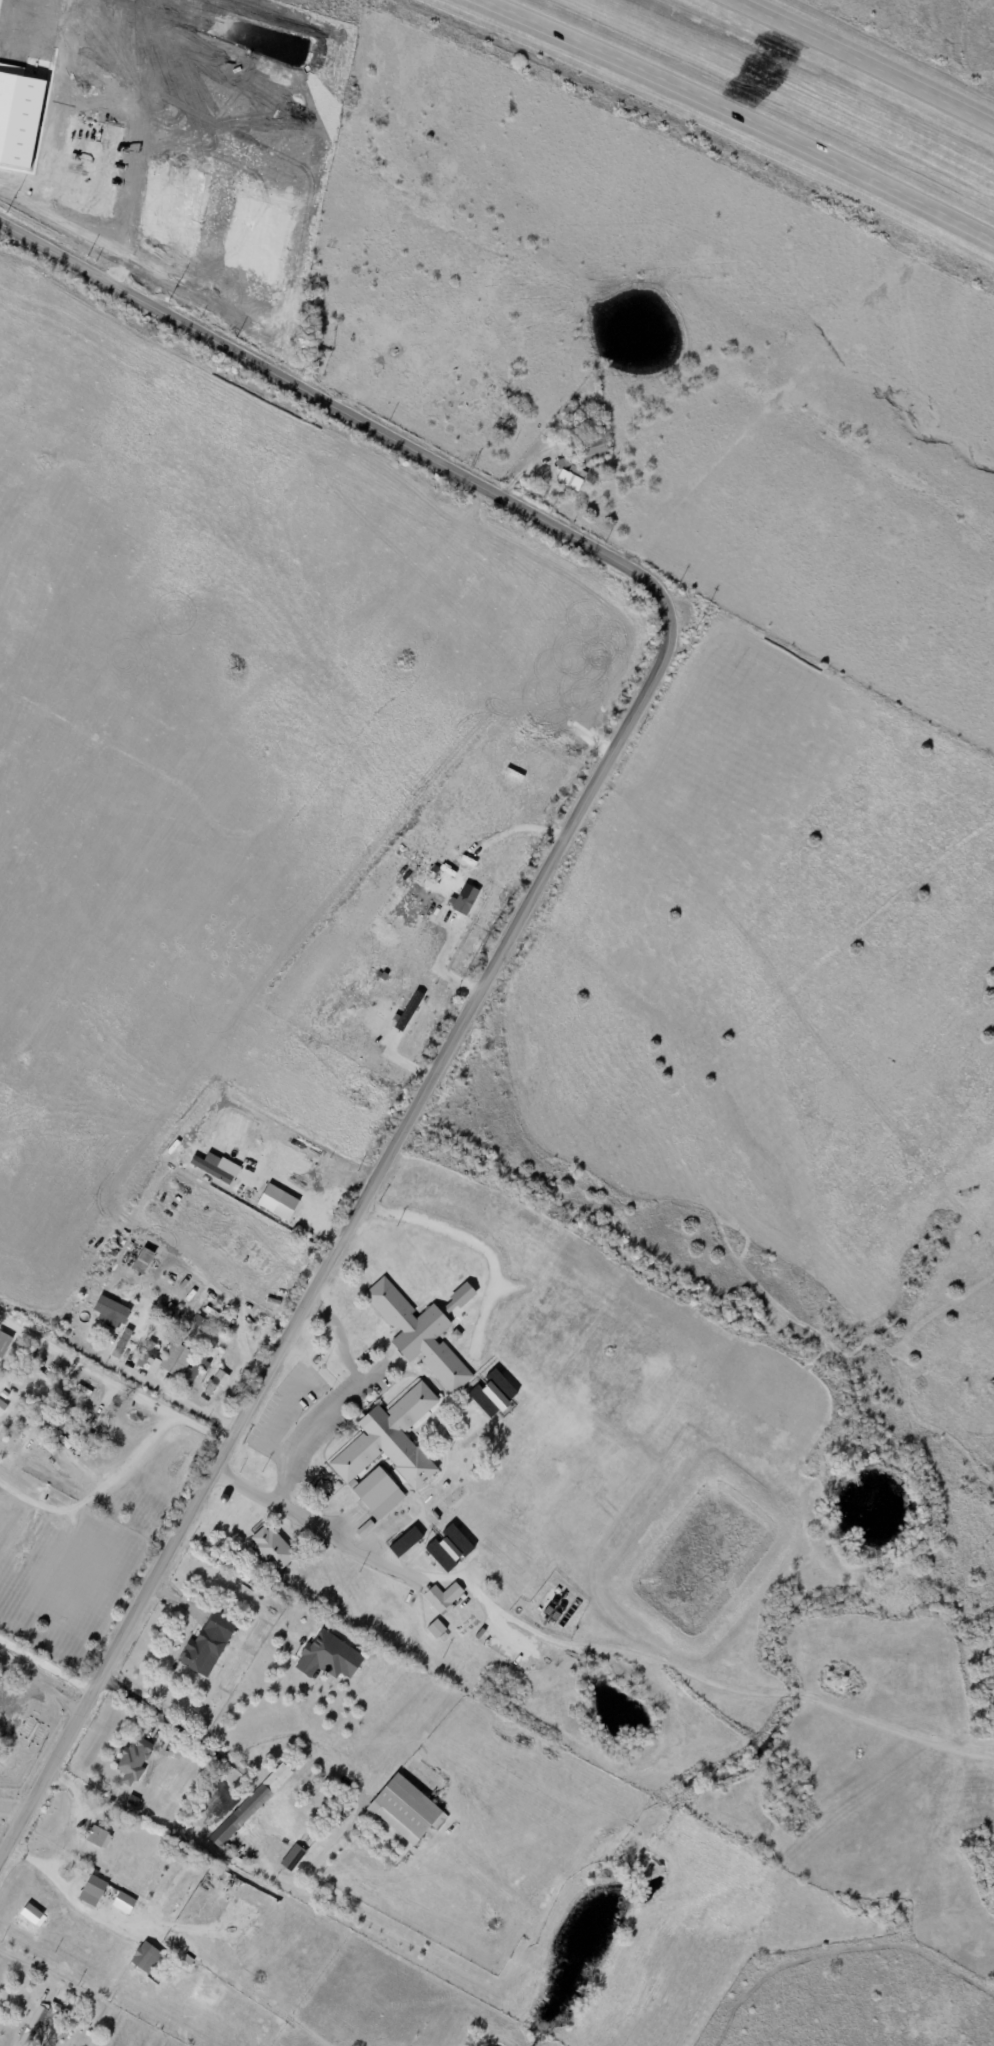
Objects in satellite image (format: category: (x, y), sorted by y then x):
road: (861, 66)
road: (717, 115)
road: (28, 319)
building: (571, 410)
building: (594, 447)
building: (564, 462)
building: (572, 480)
road: (123, 716)
building: (466, 897)
road: (531, 897)
building: (409, 1011)
road: (15, 1101)
building: (217, 1166)
road: (299, 1196)
building: (279, 1201)
road: (470, 1245)
building: (146, 1256)
building: (113, 1308)
building: (212, 1308)
building: (168, 1312)
building: (198, 1320)
building: (204, 1327)
road: (239, 1329)
building: (424, 1330)
building: (458, 1334)
building: (4, 1343)
building: (122, 1344)
building: (147, 1354)
building: (154, 1354)
building: (177, 1358)
road: (86, 1370)
building: (189, 1370)
building: (49, 1375)
building: (215, 1383)
road: (369, 1384)
building: (495, 1393)
building: (2, 1405)
road: (347, 1405)
building: (42, 1406)
road: (273, 1429)
road: (199, 1431)
building: (393, 1440)
building: (381, 1493)
road: (97, 1496)
building: (368, 1526)
building: (407, 1540)
building: (451, 1547)
building: (274, 1550)
building: (255, 1580)
road: (412, 1581)
building: (444, 1598)
building: (437, 1629)
building: (210, 1644)
building: (330, 1657)
road: (46, 1665)
road: (41, 1681)
road: (237, 1695)
road: (208, 1752)
building: (134, 1762)
building: (252, 1805)
building: (406, 1810)
building: (99, 1837)
building: (195, 1854)
building: (294, 1858)
road: (254, 1871)
road: (61, 1891)
building: (93, 1891)
building: (124, 1902)
building: (32, 1913)
building: (147, 1958)
road: (26, 1964)
building: (60, 2009)
building: (34, 2027)
building: (66, 2032)

